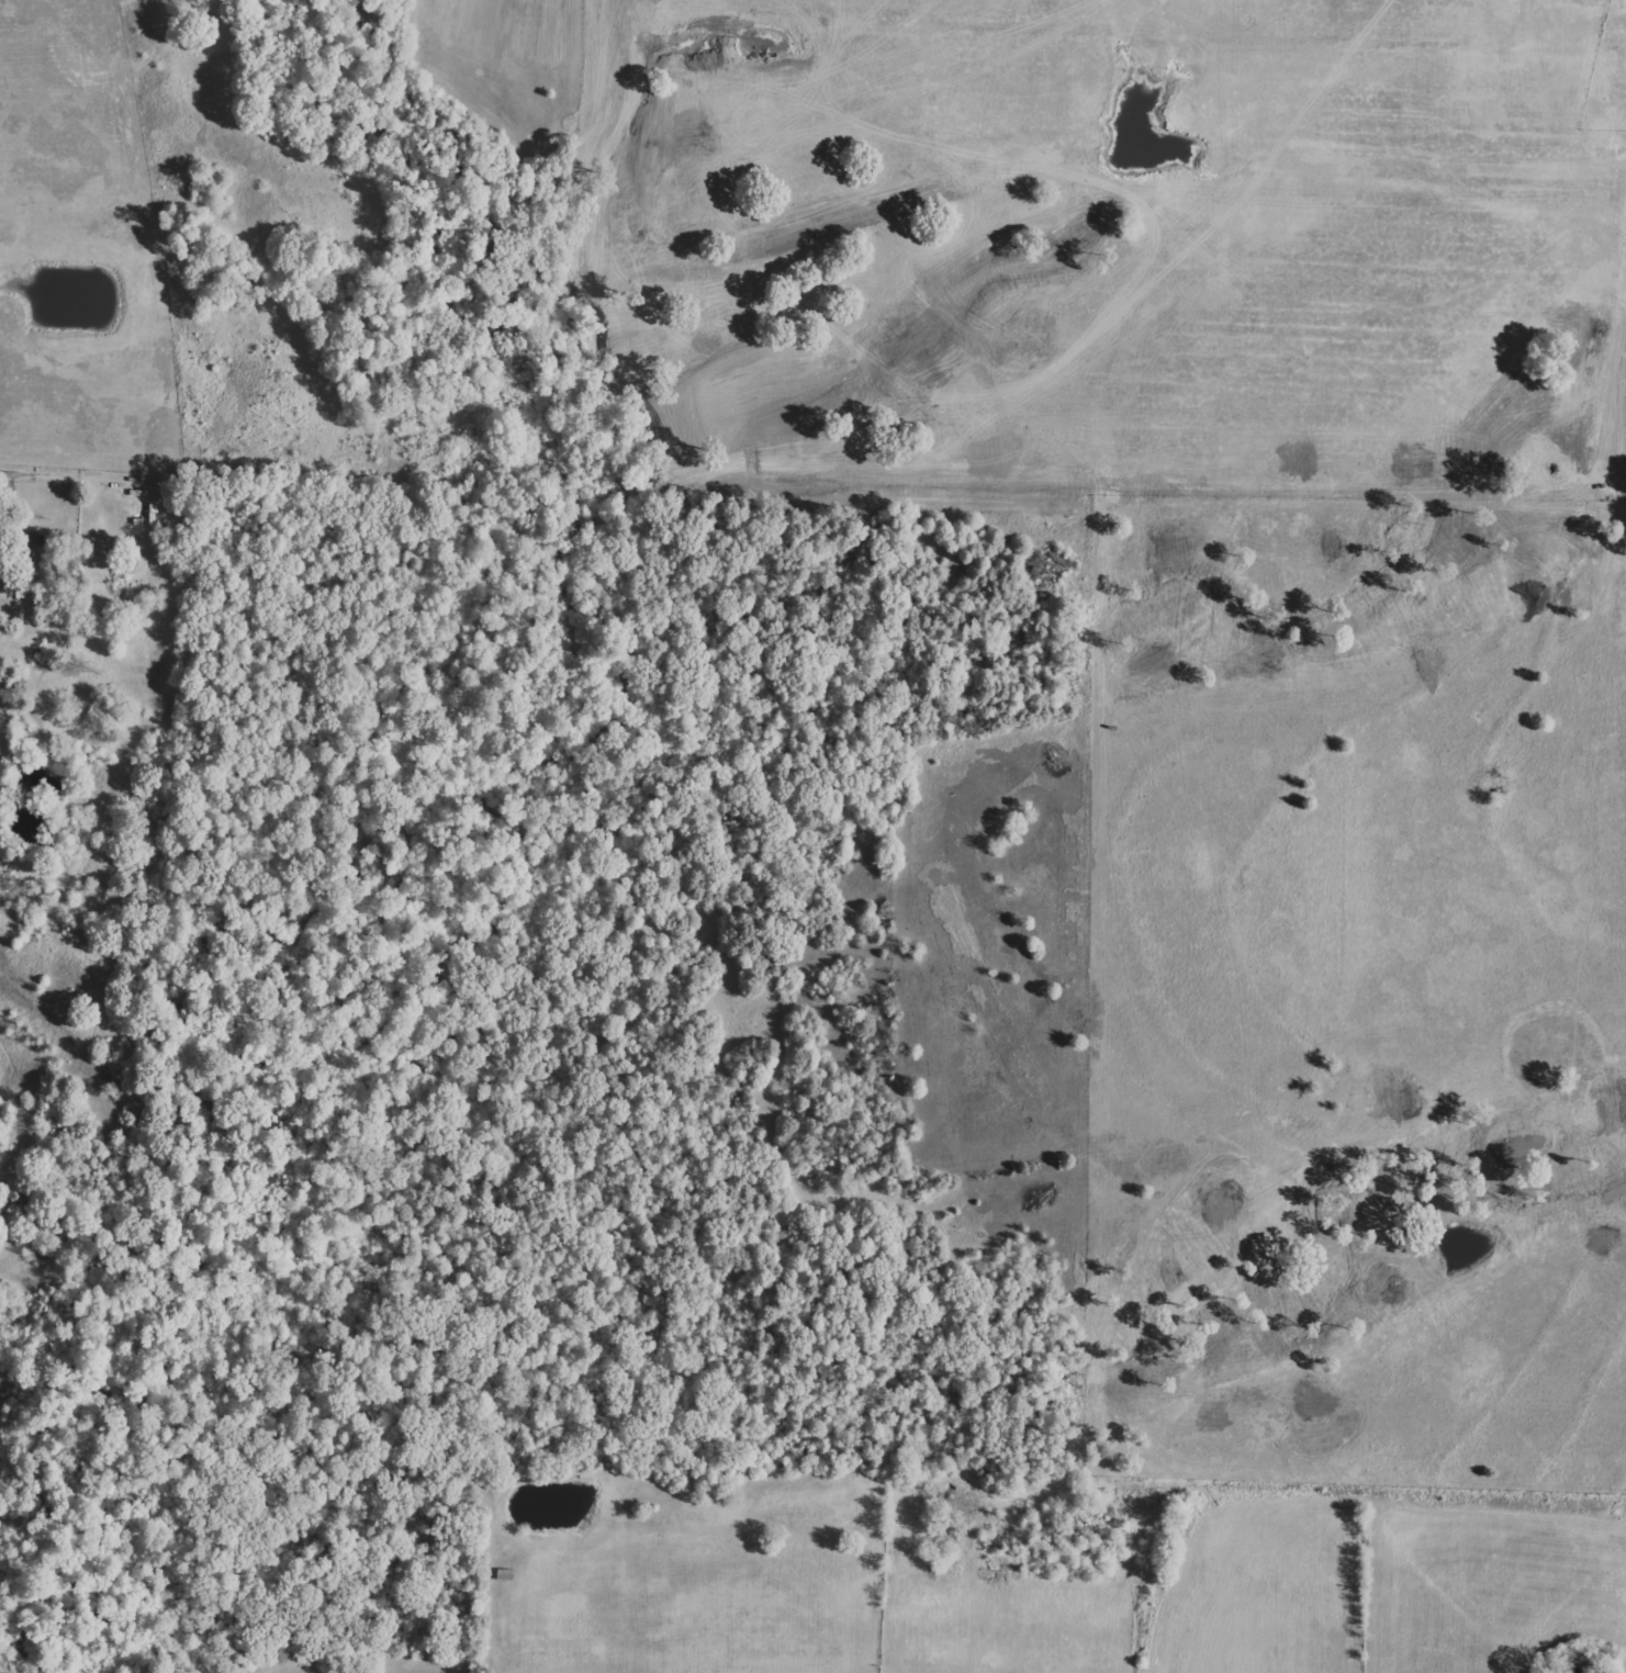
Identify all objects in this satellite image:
road: (10, 473)
road: (83, 482)
building: (33, 547)

